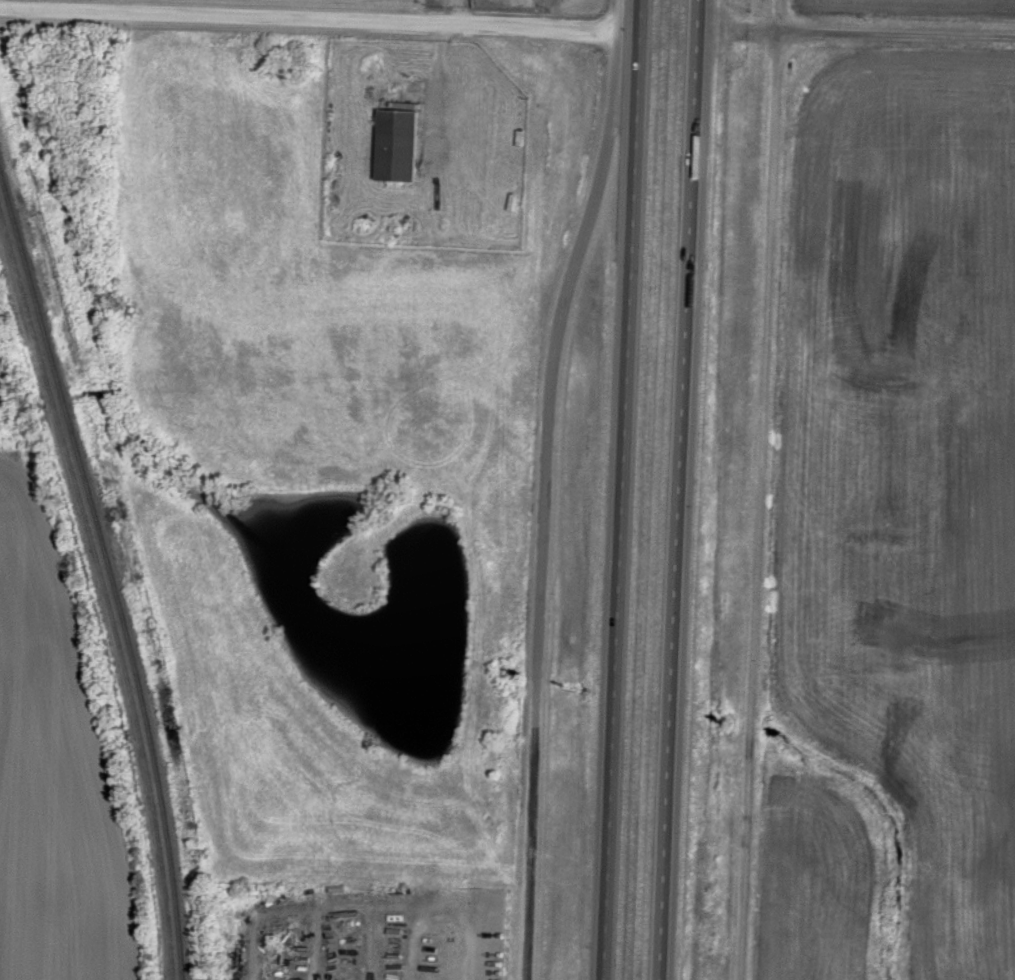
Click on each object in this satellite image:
road: (565, 14)
road: (282, 16)
road: (895, 36)
building: (399, 146)
road: (680, 489)
road: (624, 490)
road: (546, 503)
railway: (107, 574)
railway: (102, 594)

